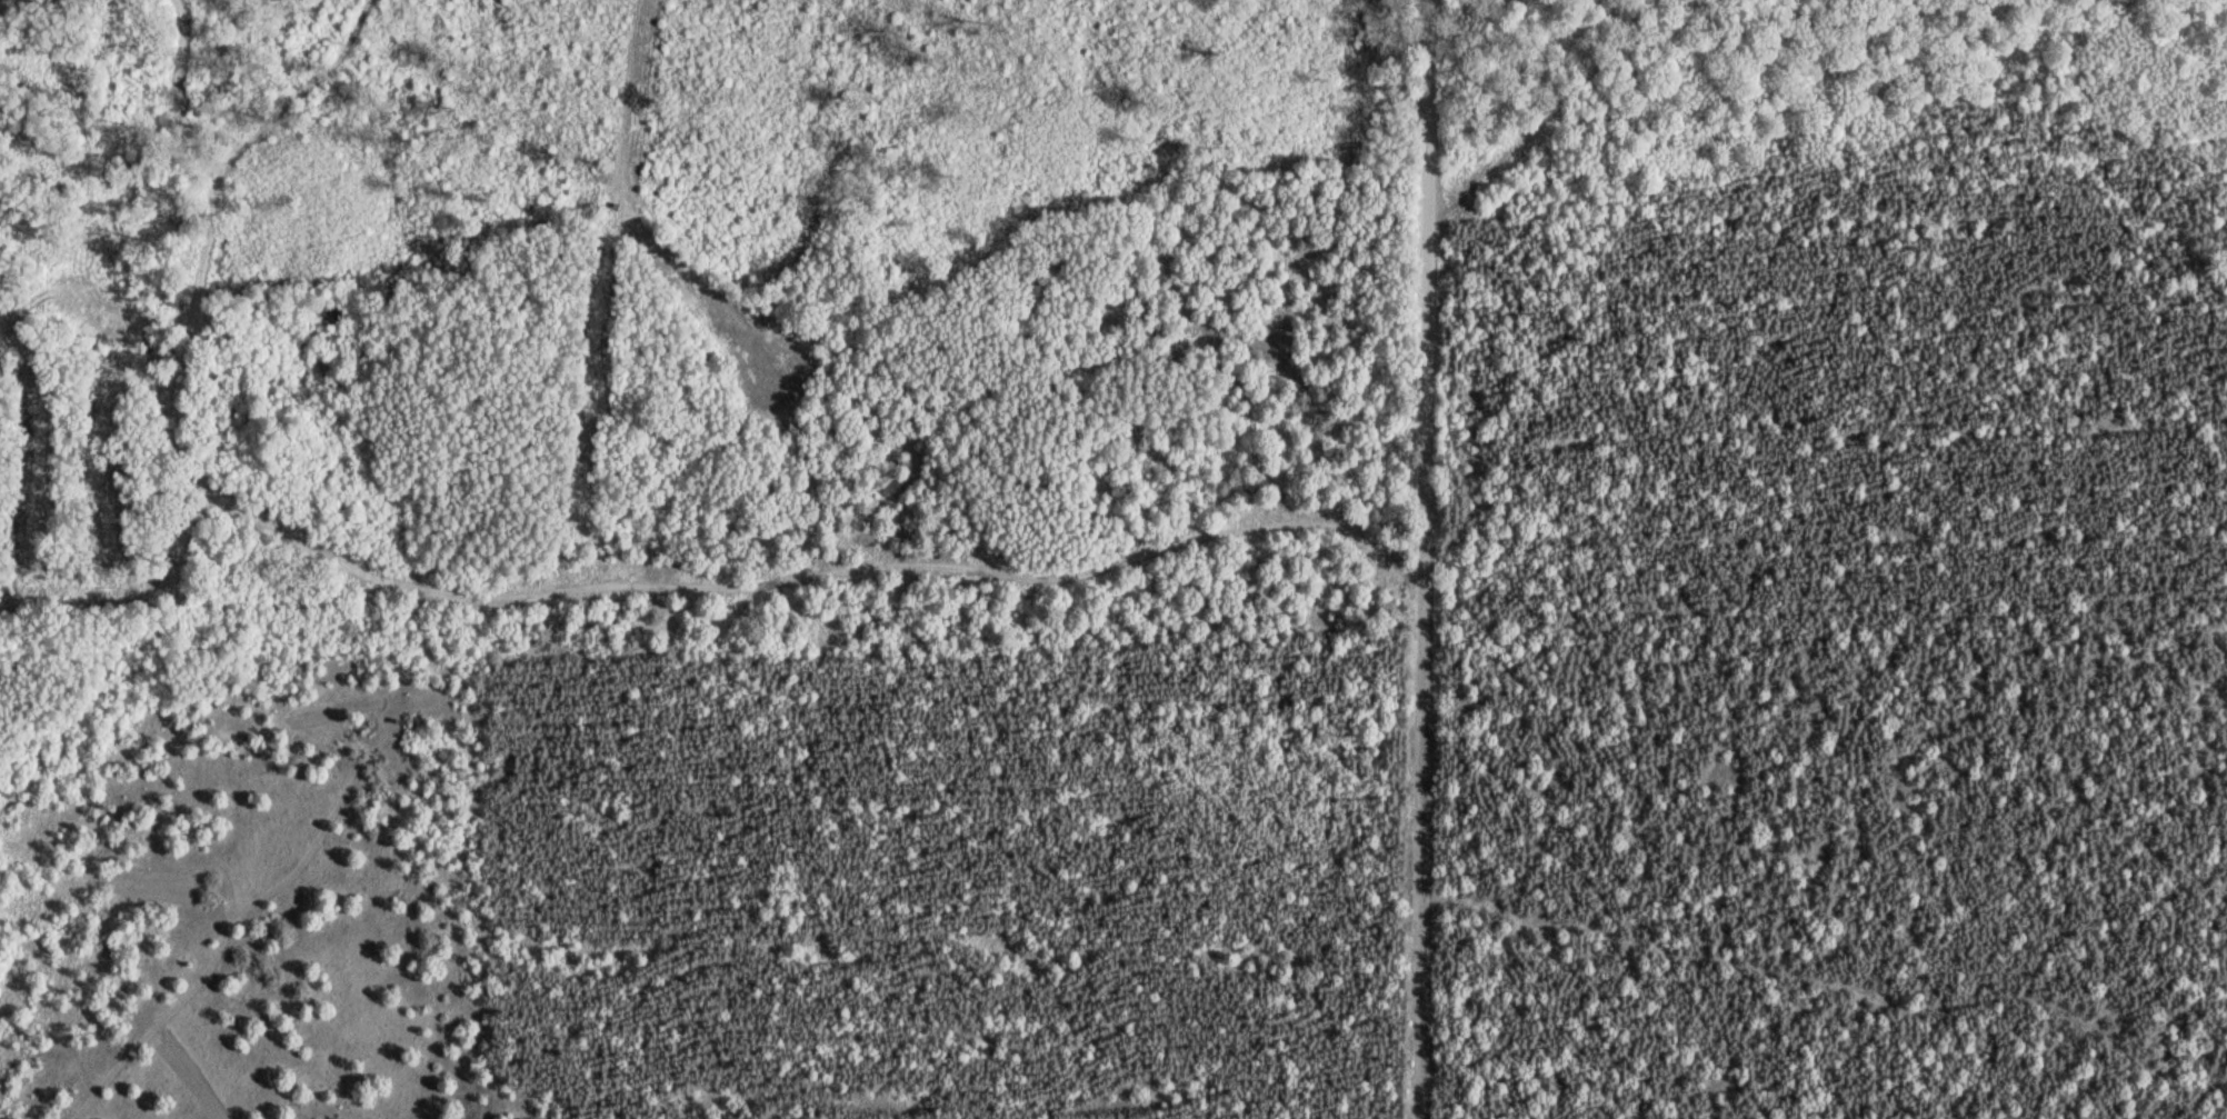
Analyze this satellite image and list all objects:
road: (1421, 559)

